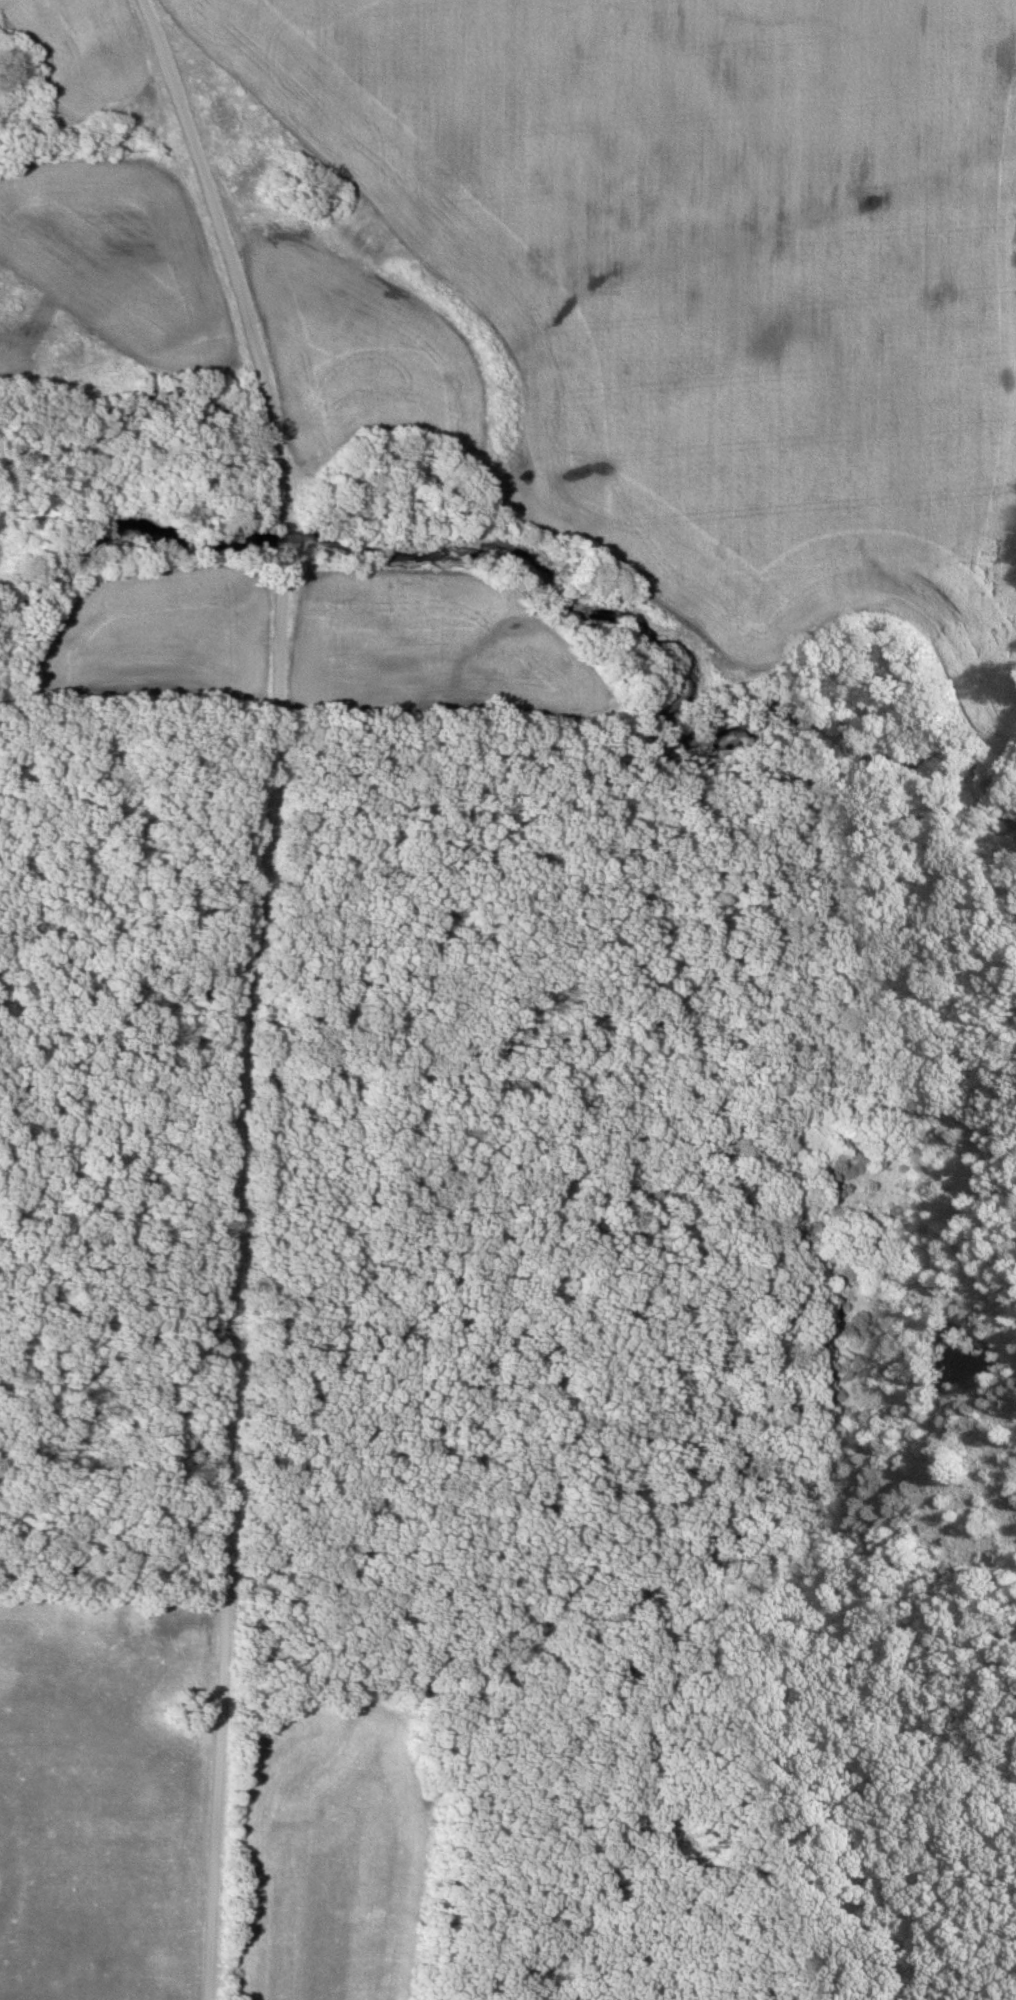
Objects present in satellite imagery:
road: (247, 989)

